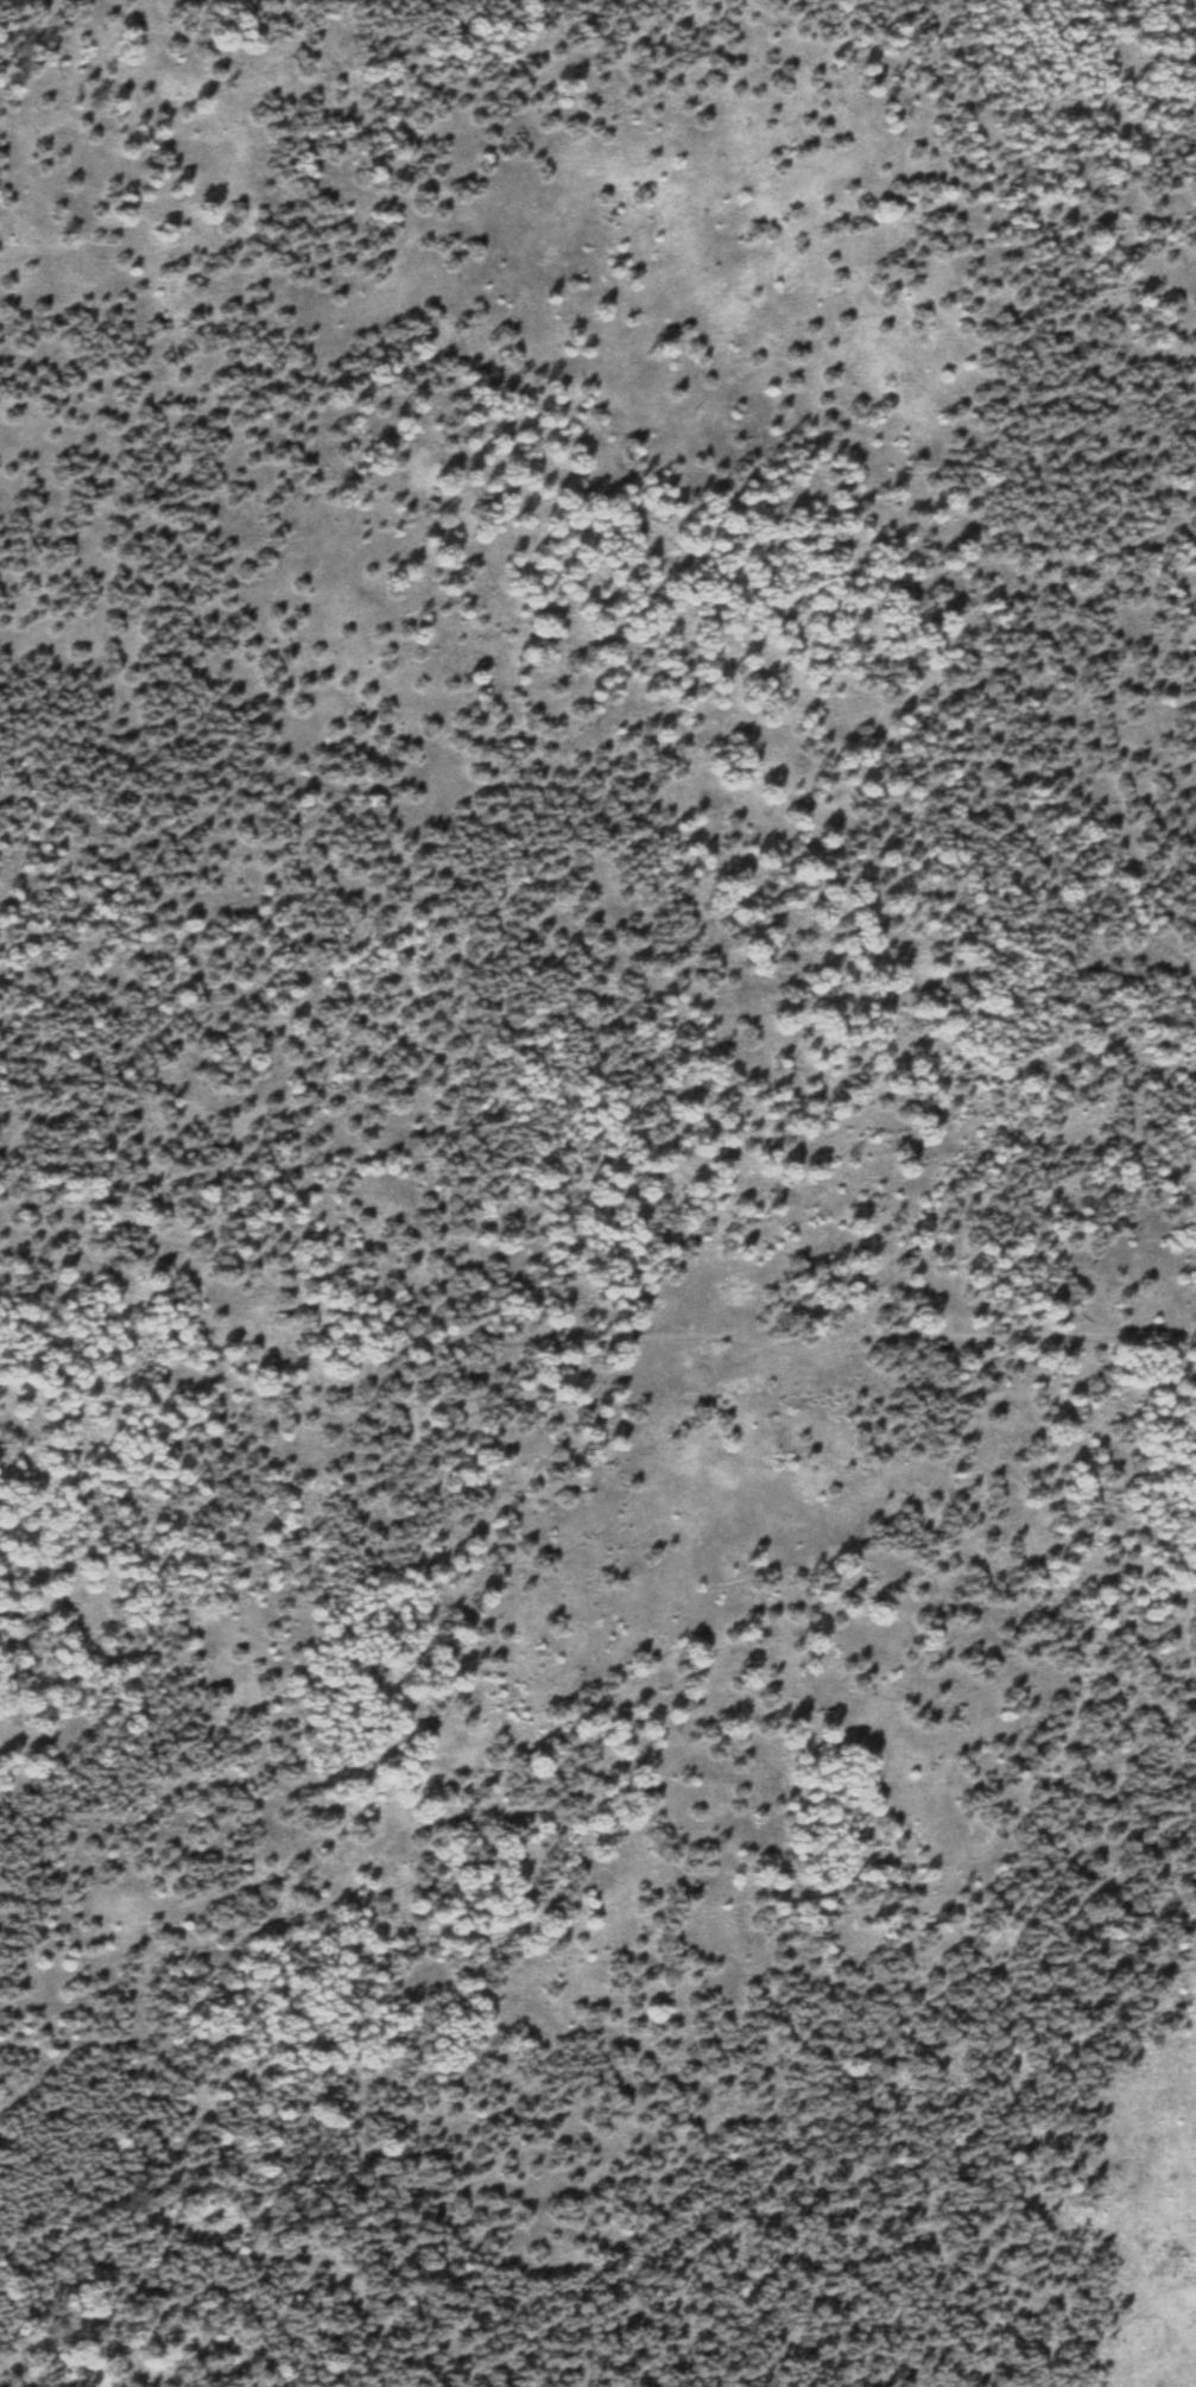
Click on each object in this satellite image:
road: (504, 1337)
road: (1115, 1338)

